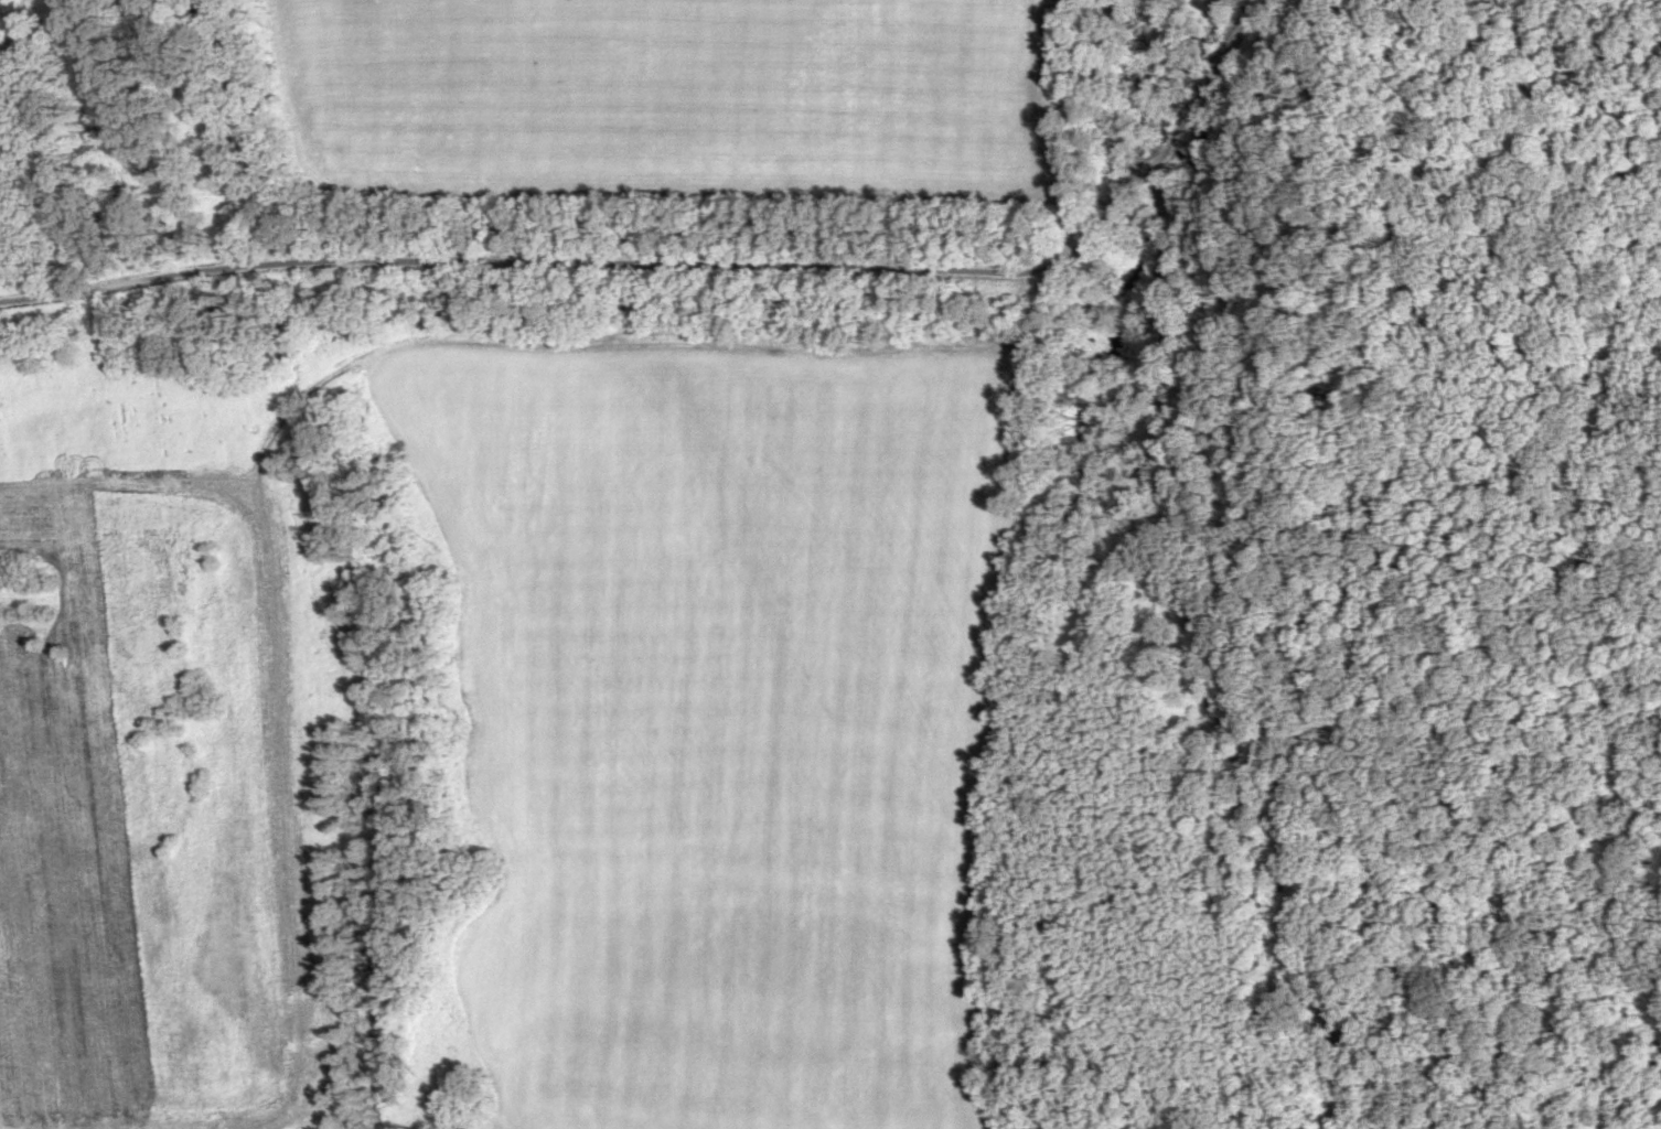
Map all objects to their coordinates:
road: (694, 262)

